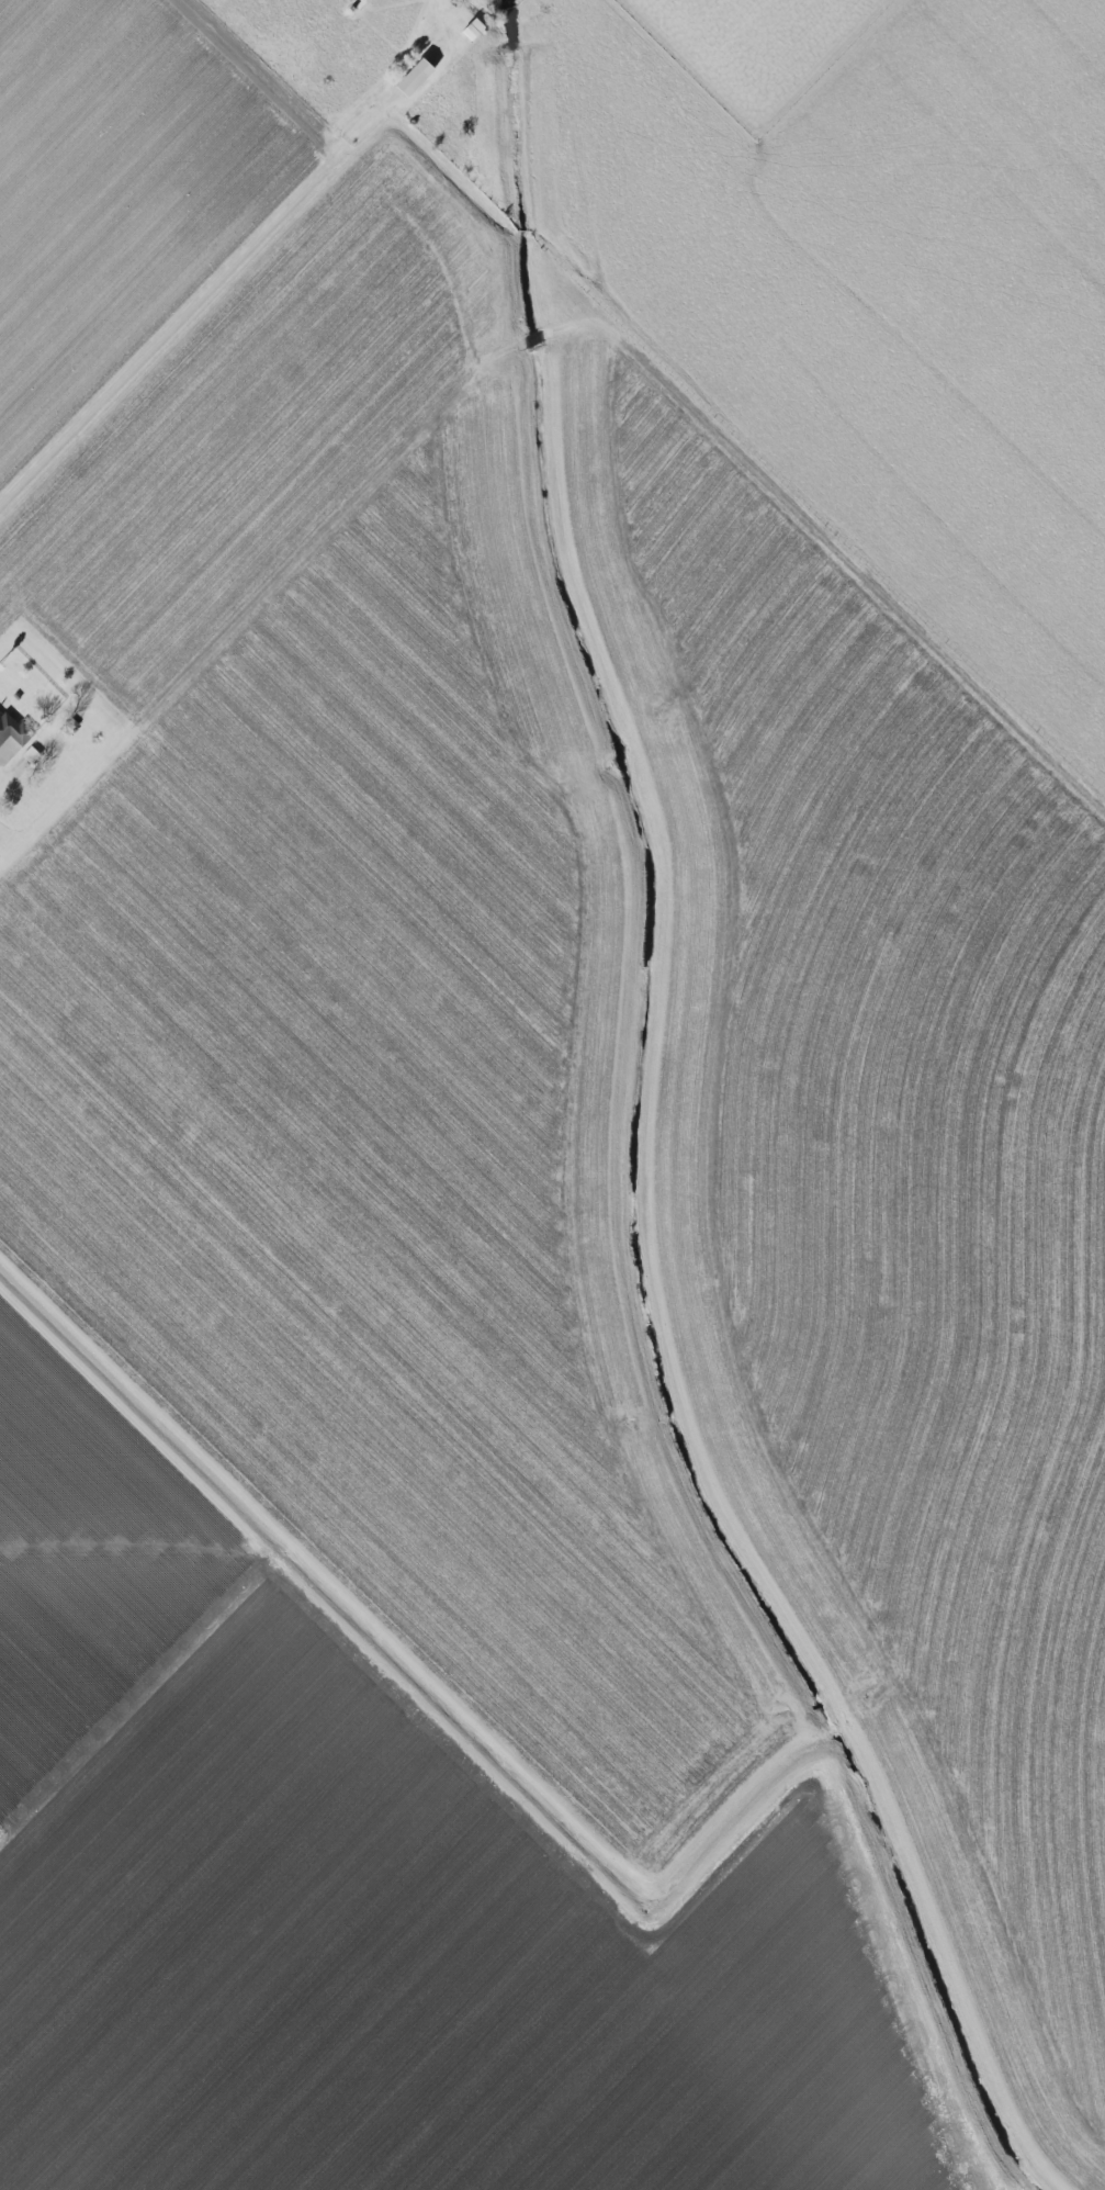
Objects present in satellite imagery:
road: (521, 25)
building: (415, 77)
road: (192, 303)

